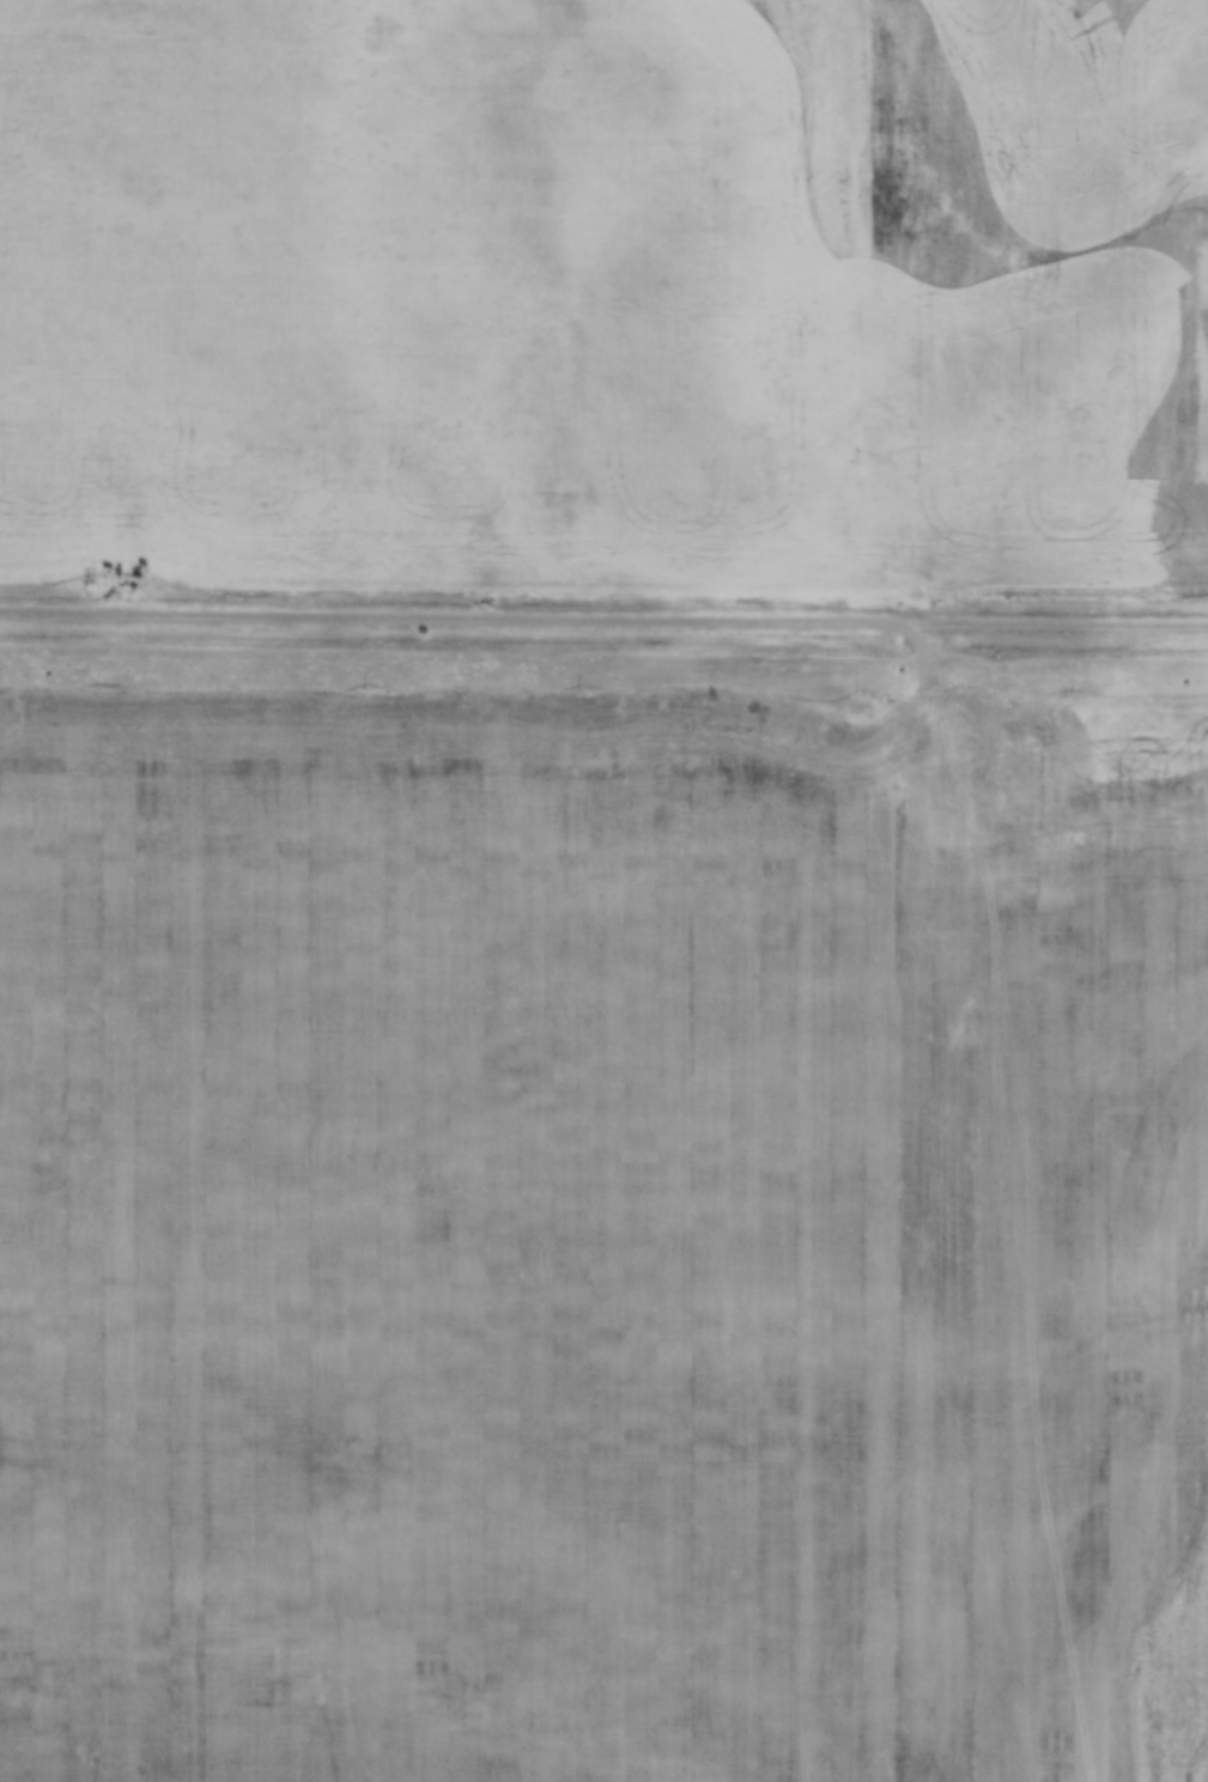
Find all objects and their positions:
road: (603, 622)
road: (918, 980)

